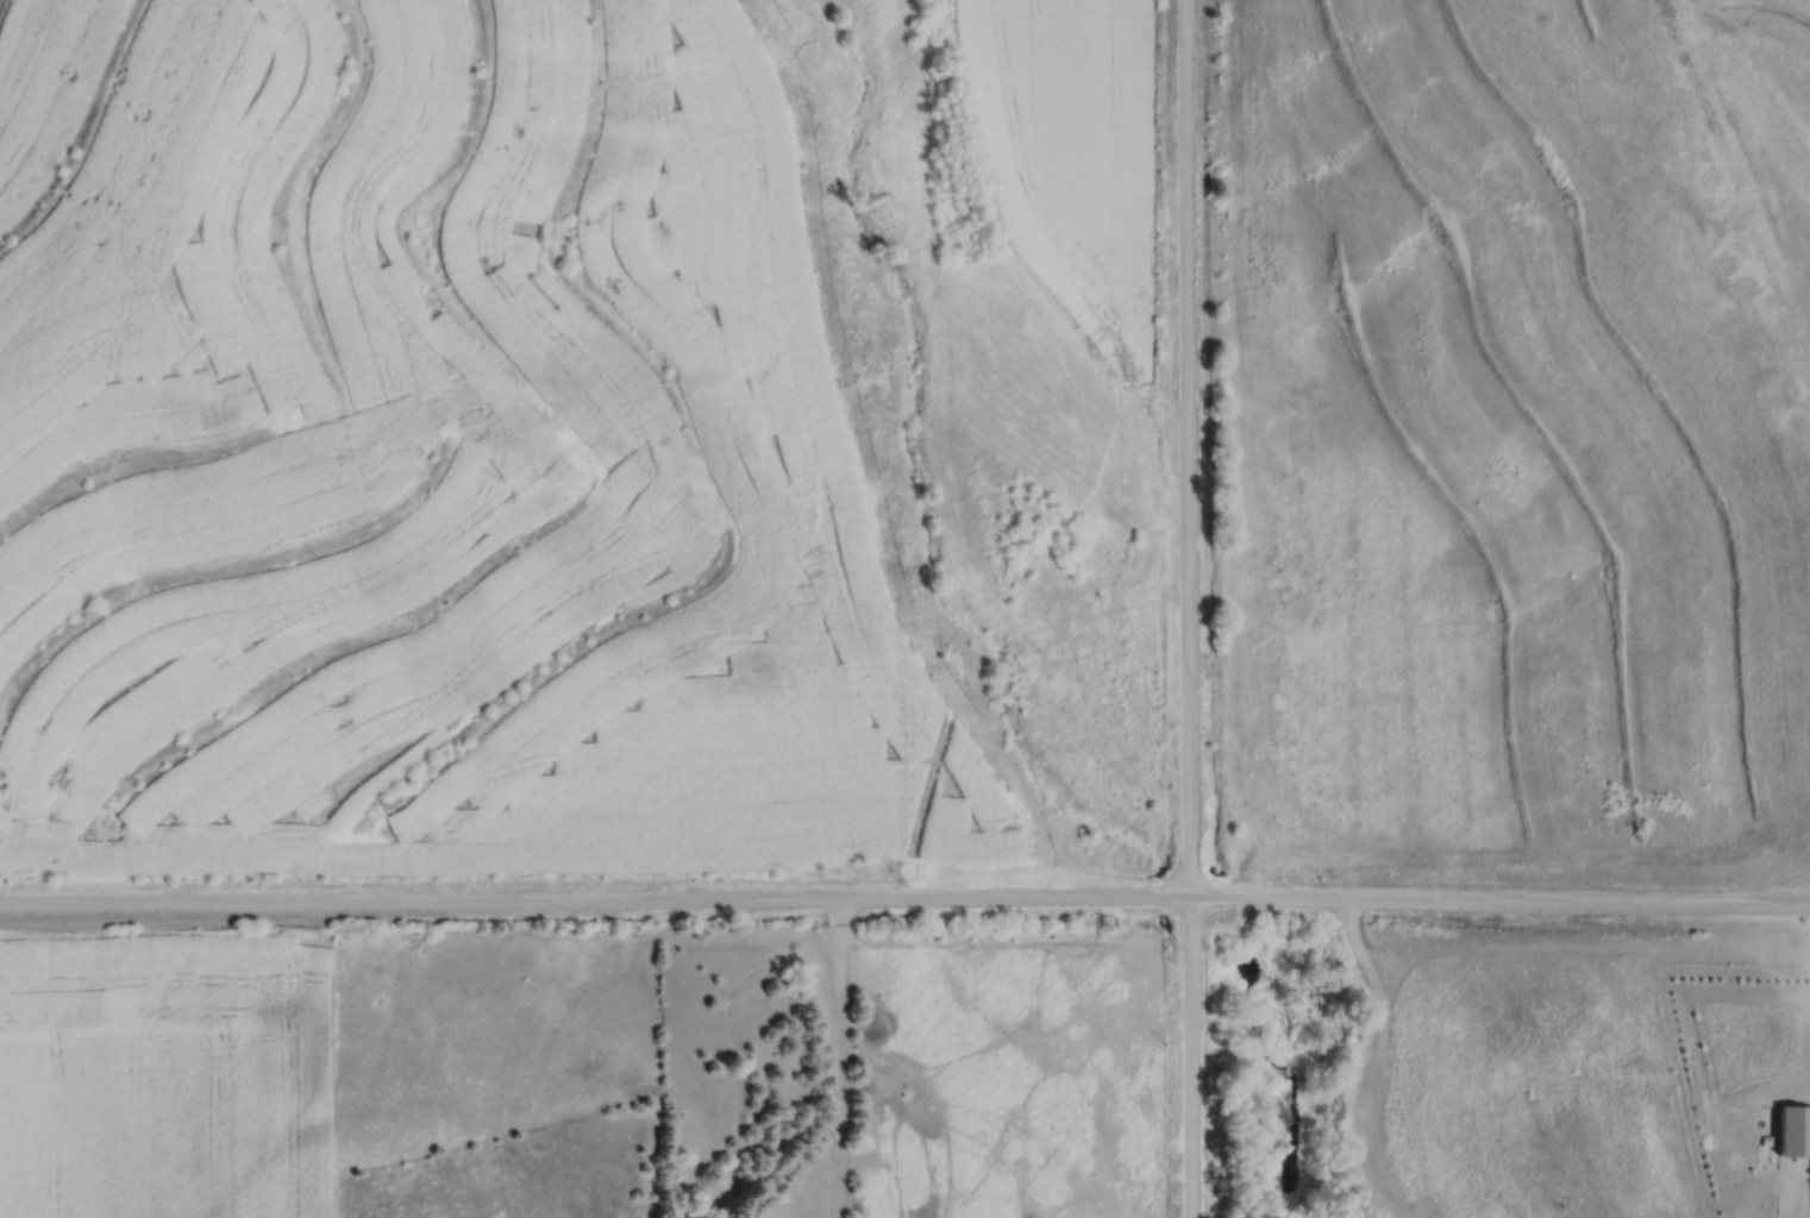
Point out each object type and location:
road: (1184, 450)
road: (1498, 904)
road: (593, 906)
road: (1186, 1059)
road: (843, 1061)

